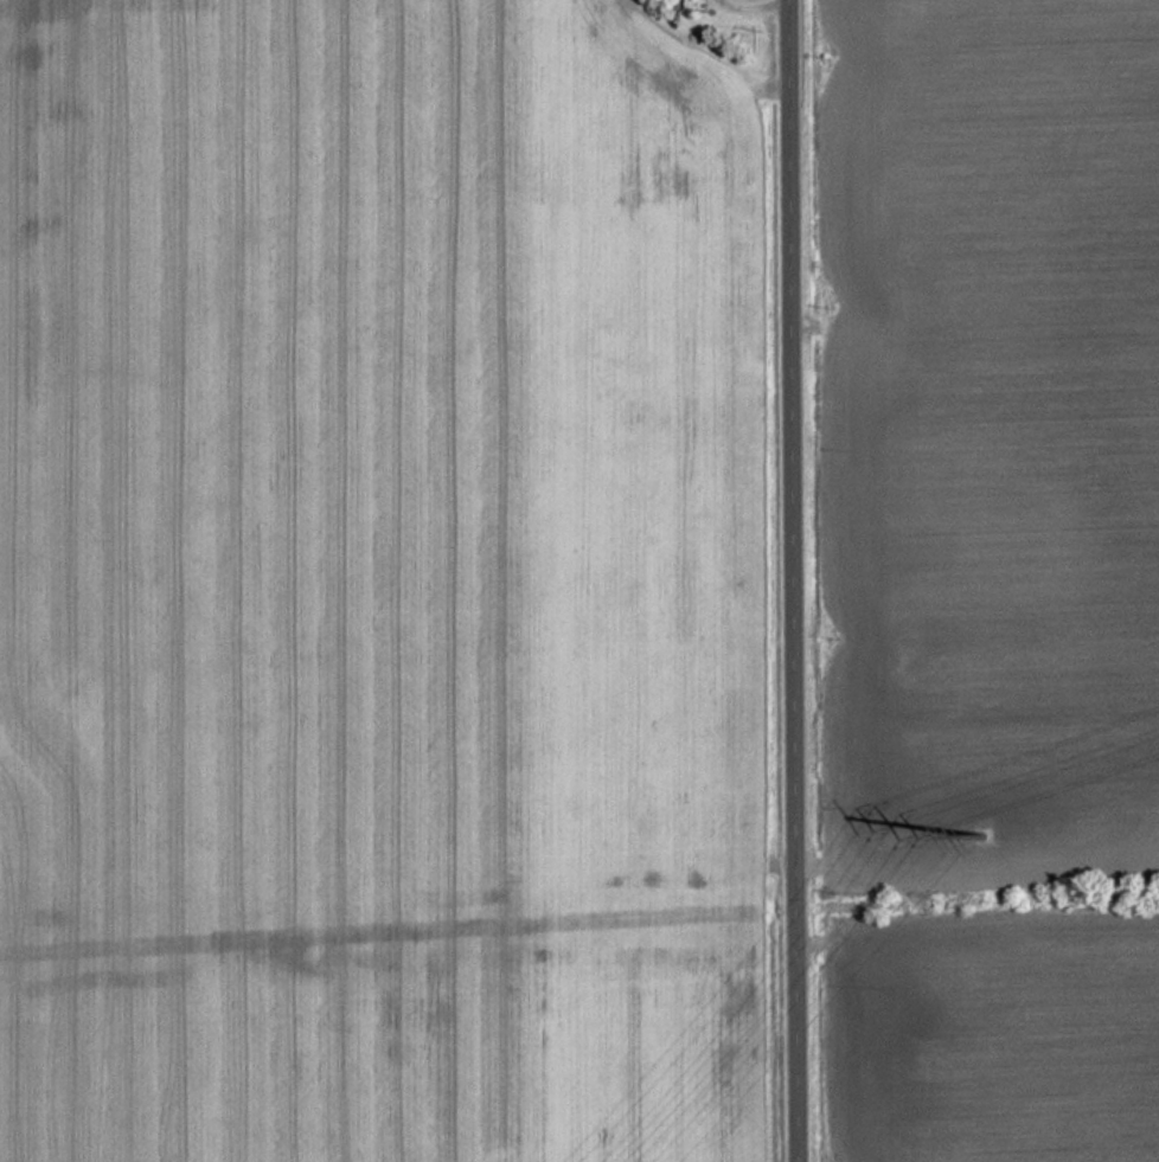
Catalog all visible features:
road: (800, 580)
power tower: (981, 840)

